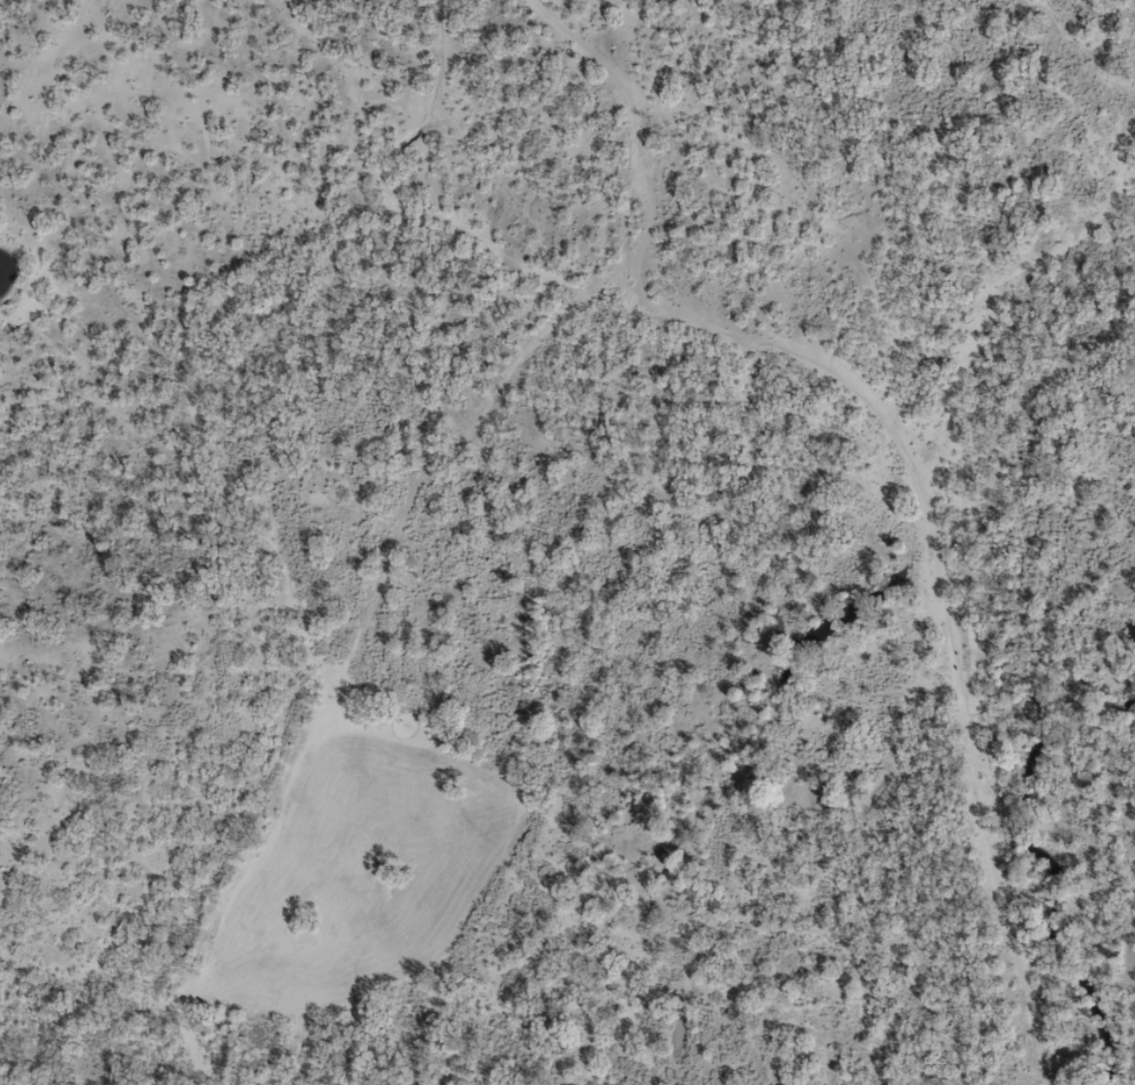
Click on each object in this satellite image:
road: (2, 3)
road: (937, 608)

